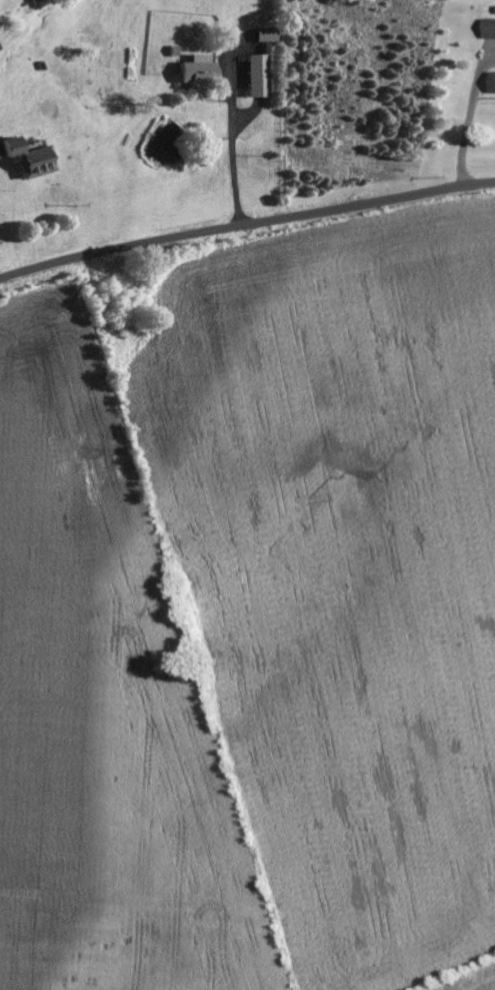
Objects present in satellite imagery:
building: (490, 29)
building: (269, 35)
building: (202, 72)
building: (261, 76)
building: (494, 85)
building: (34, 159)
road: (246, 223)

